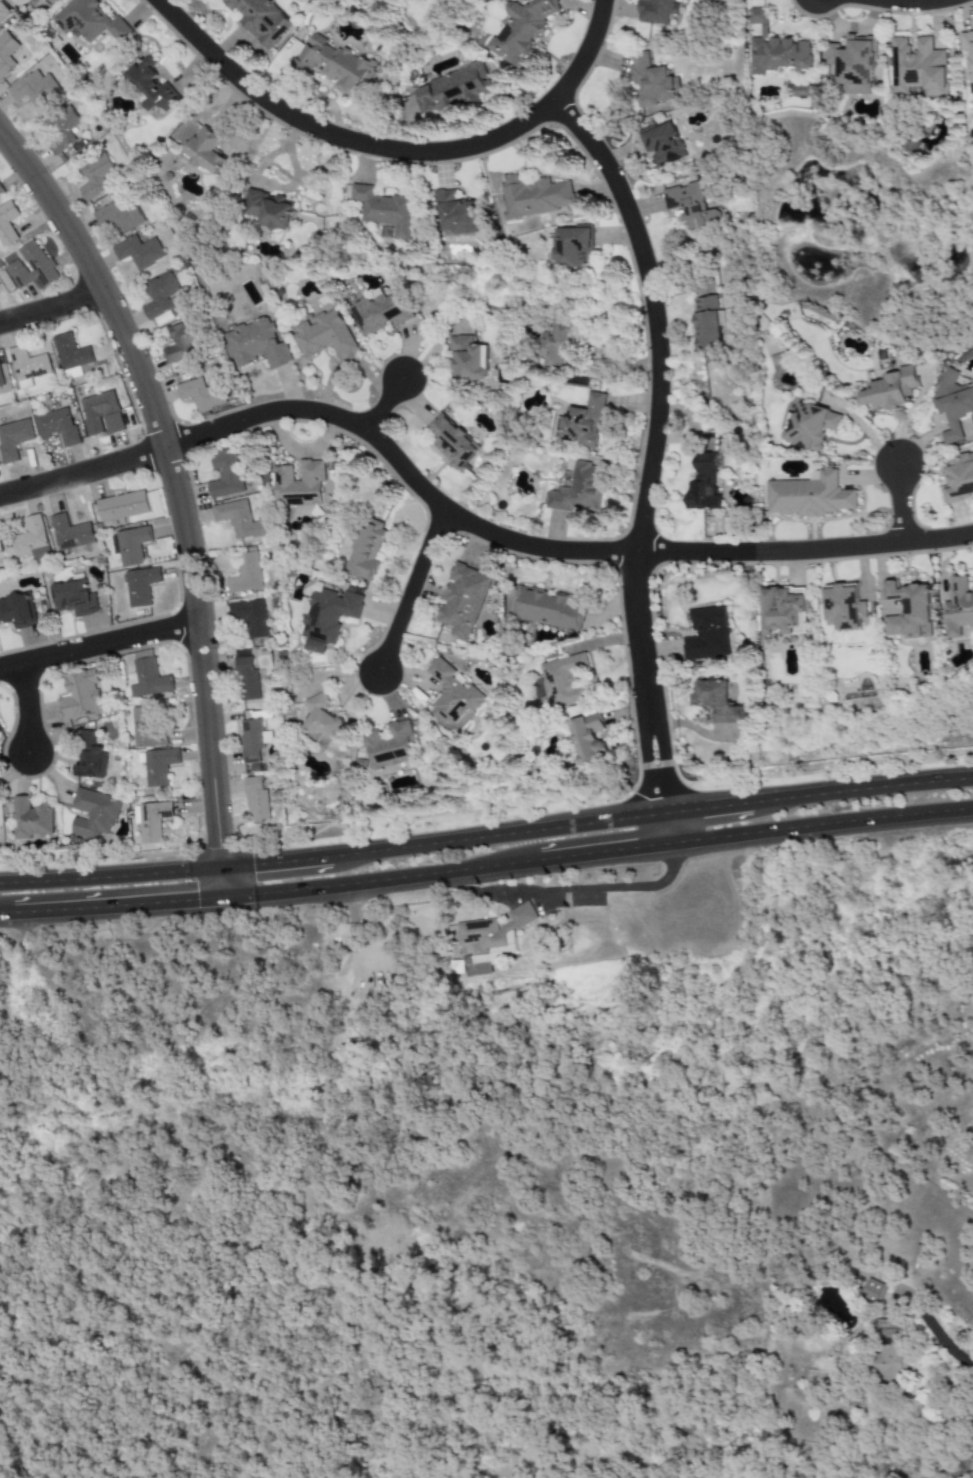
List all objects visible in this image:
road: (912, 3)
building: (657, 11)
building: (90, 20)
building: (260, 20)
building: (520, 29)
building: (774, 48)
building: (6, 53)
building: (968, 55)
building: (853, 64)
building: (332, 65)
building: (917, 68)
building: (651, 81)
building: (150, 86)
building: (451, 88)
building: (35, 89)
building: (800, 91)
building: (64, 131)
building: (662, 143)
road: (393, 148)
building: (205, 151)
building: (96, 178)
building: (533, 196)
building: (689, 205)
building: (382, 209)
building: (268, 210)
building: (455, 213)
building: (119, 218)
building: (7, 224)
building: (572, 248)
building: (138, 252)
building: (28, 269)
building: (163, 300)
road: (52, 307)
building: (379, 311)
building: (708, 323)
building: (324, 334)
building: (557, 342)
building: (179, 343)
building: (256, 344)
building: (70, 352)
building: (467, 359)
building: (778, 359)
building: (27, 367)
building: (0, 382)
building: (890, 390)
building: (201, 394)
building: (952, 404)
road: (383, 407)
building: (101, 414)
building: (583, 423)
building: (57, 426)
building: (809, 426)
building: (14, 439)
road: (650, 443)
building: (455, 444)
building: (225, 474)
building: (958, 477)
building: (299, 483)
road: (169, 484)
building: (703, 484)
building: (579, 490)
building: (810, 495)
road: (899, 498)
building: (122, 506)
building: (237, 519)
road: (463, 522)
building: (70, 533)
building: (31, 540)
building: (129, 546)
building: (365, 549)
building: (1, 555)
building: (244, 573)
building: (141, 586)
road: (405, 597)
building: (74, 599)
building: (463, 600)
building: (843, 607)
building: (958, 607)
building: (544, 609)
building: (783, 610)
building: (908, 610)
building: (17, 611)
building: (325, 615)
building: (249, 617)
building: (706, 634)
road: (98, 647)
building: (245, 676)
building: (148, 677)
building: (563, 681)
building: (451, 694)
building: (79, 696)
building: (716, 701)
road: (26, 713)
building: (321, 721)
building: (146, 729)
building: (0, 731)
building: (587, 738)
building: (250, 745)
building: (389, 745)
building: (90, 756)
building: (157, 766)
road: (860, 785)
building: (255, 799)
road: (705, 804)
building: (93, 814)
building: (31, 820)
building: (151, 820)
road: (665, 827)
road: (496, 831)
traffic signals: (223, 857)
road: (277, 858)
traffic signals: (256, 860)
road: (112, 873)
road: (487, 877)
road: (225, 885)
road: (583, 891)
traffic signals: (201, 910)
building: (494, 928)
building: (475, 966)
building: (872, 1292)
road: (948, 1346)
building: (888, 1350)

